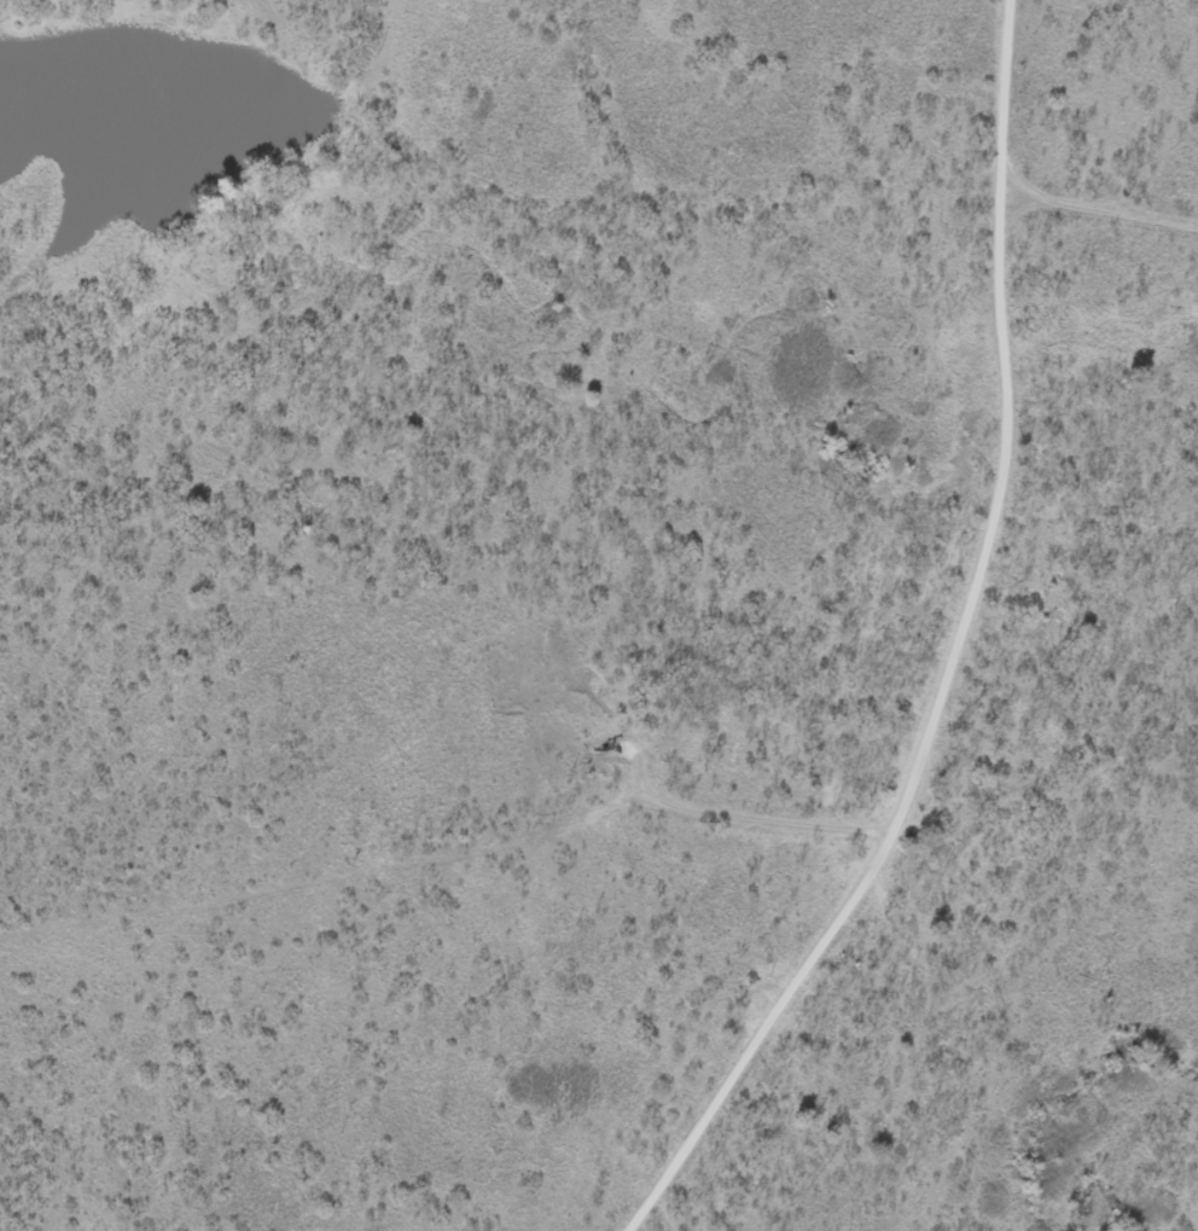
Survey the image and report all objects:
road: (979, 658)

